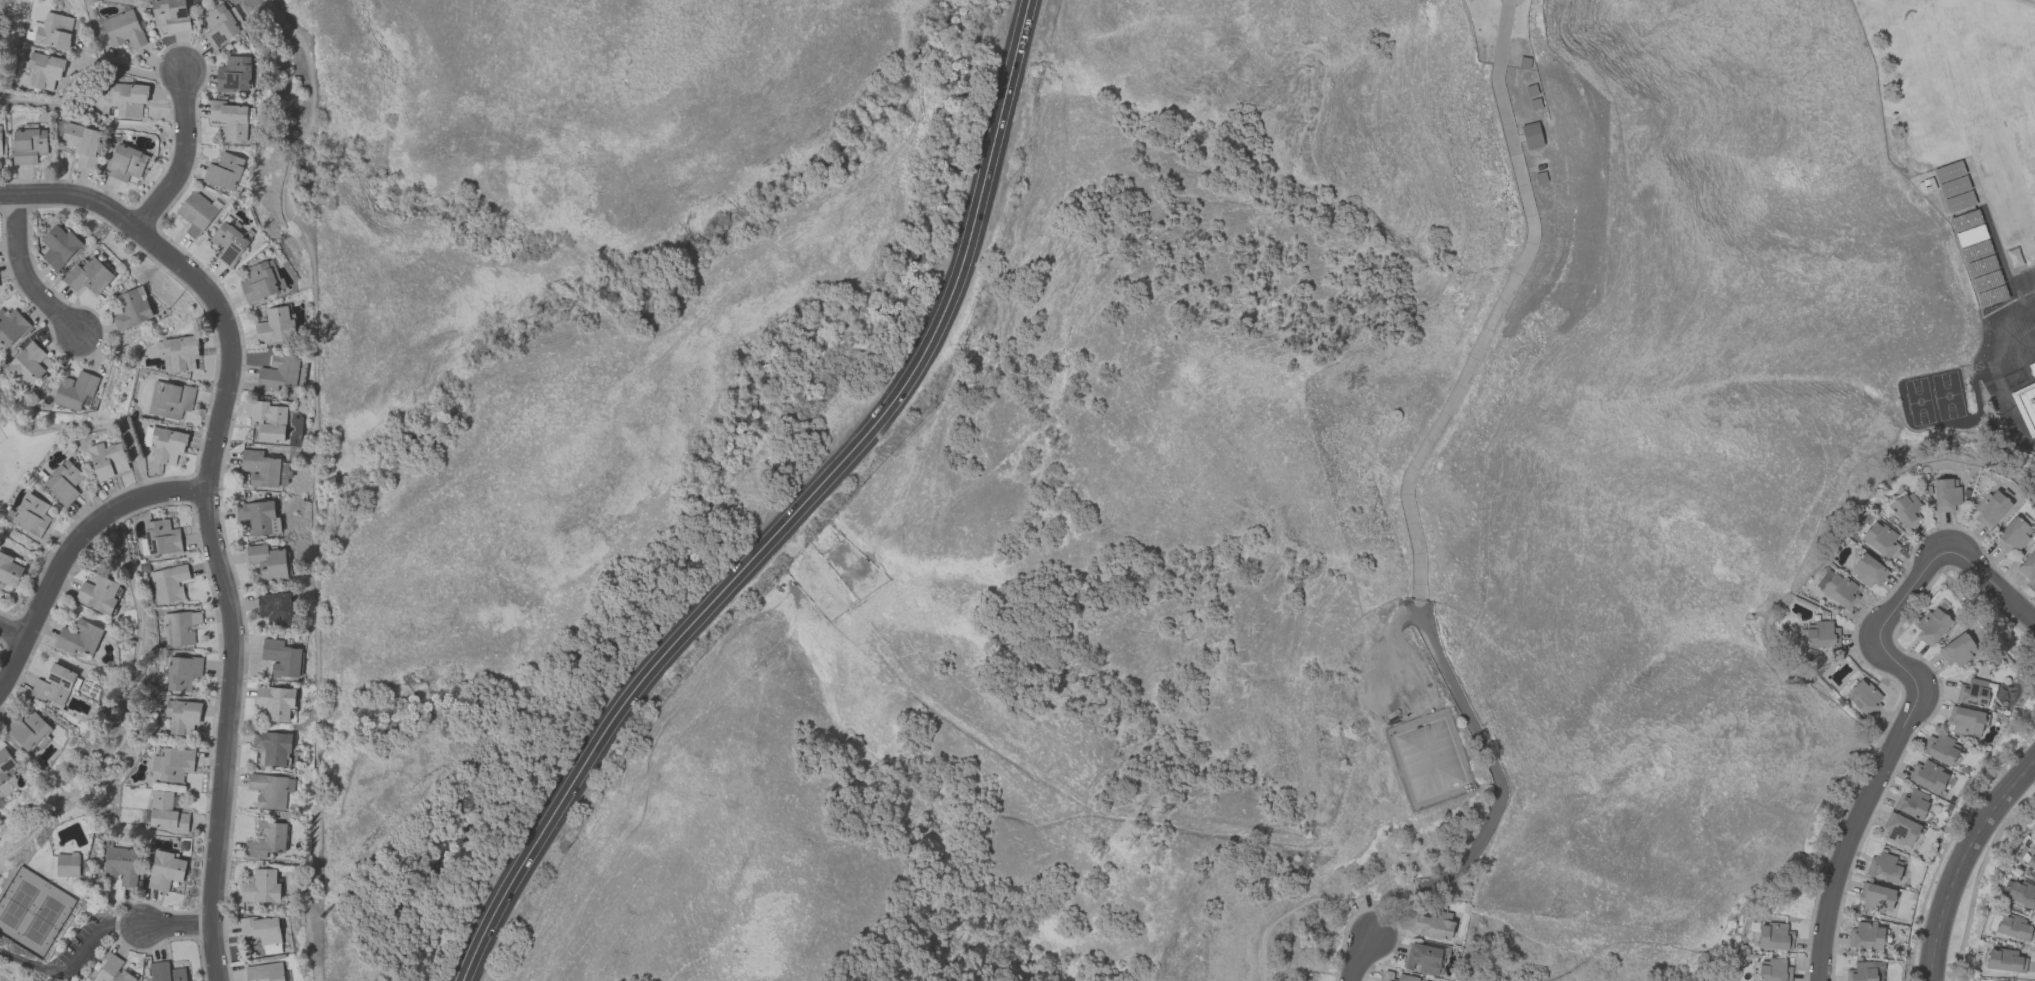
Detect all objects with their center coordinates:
building: (171, 15)
building: (220, 26)
building: (124, 29)
building: (54, 31)
building: (44, 70)
road: (131, 71)
building: (235, 74)
building: (129, 99)
building: (230, 119)
building: (1531, 136)
building: (0, 143)
building: (82, 144)
building: (29, 146)
road: (183, 157)
building: (126, 163)
building: (225, 172)
building: (1954, 186)
building: (196, 213)
building: (229, 244)
building: (59, 247)
building: (89, 276)
road: (23, 278)
building: (259, 282)
road: (1498, 306)
building: (133, 309)
building: (2034, 325)
building: (276, 326)
building: (11, 327)
building: (2034, 329)
building: (181, 353)
building: (27, 365)
building: (279, 374)
building: (75, 391)
park: (1934, 398)
building: (169, 400)
building: (2026, 402)
building: (269, 422)
building: (146, 436)
building: (167, 446)
building: (107, 460)
building: (260, 468)
building: (63, 482)
building: (1945, 494)
building: (1991, 507)
building: (1906, 510)
road: (209, 514)
road: (797, 514)
building: (31, 516)
building: (257, 516)
building: (2012, 535)
building: (161, 538)
building: (1879, 539)
road: (69, 551)
building: (268, 562)
building: (2028, 565)
building: (9, 570)
building: (1867, 570)
building: (168, 584)
road: (1994, 584)
building: (1840, 591)
building: (98, 595)
building: (276, 608)
building: (1931, 625)
building: (180, 628)
road: (11, 632)
building: (1823, 635)
building: (79, 638)
building: (1956, 650)
building: (281, 658)
building: (182, 673)
building: (55, 685)
building: (1973, 693)
building: (1863, 698)
building: (276, 702)
building: (182, 717)
building: (1965, 721)
building: (28, 730)
road: (1898, 738)
building: (273, 747)
building: (1940, 749)
building: (173, 764)
building: (6, 765)
building: (1928, 777)
building: (271, 790)
road: (1499, 790)
building: (1912, 804)
building: (166, 813)
building: (1900, 830)
building: (266, 840)
building: (2028, 861)
road: (1964, 864)
building: (67, 865)
building: (122, 865)
building: (1884, 868)
building: (165, 871)
building: (261, 887)
building: (2019, 893)
building: (1876, 897)
park: (31, 914)
building: (1433, 925)
building: (2012, 927)
road: (176, 928)
building: (263, 932)
building: (1866, 936)
building: (1774, 937)
road: (97, 938)
road: (68, 945)
road: (1357, 956)
building: (1424, 958)
building: (2005, 961)
building: (111, 970)
building: (1774, 970)
building: (166, 972)
building: (265, 972)
building: (1407, 978)

